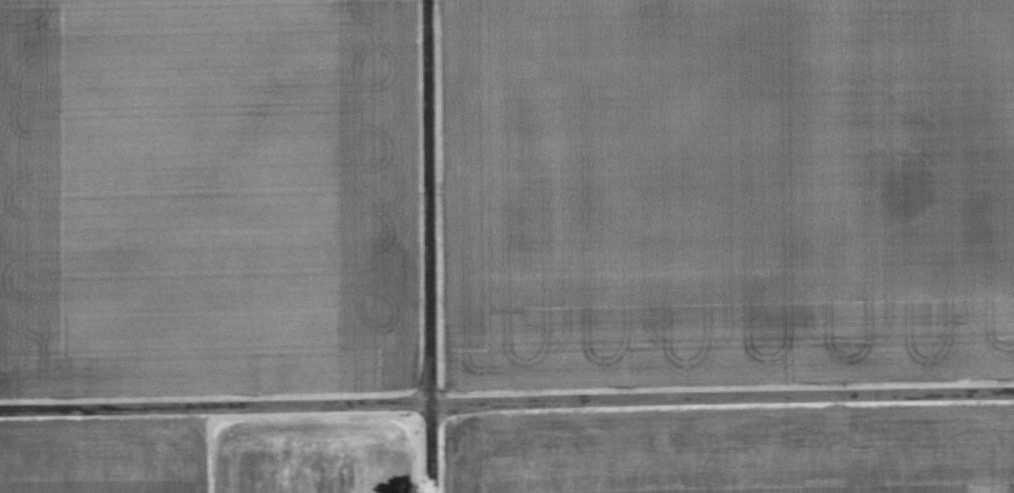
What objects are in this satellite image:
road: (427, 246)
road: (506, 405)

